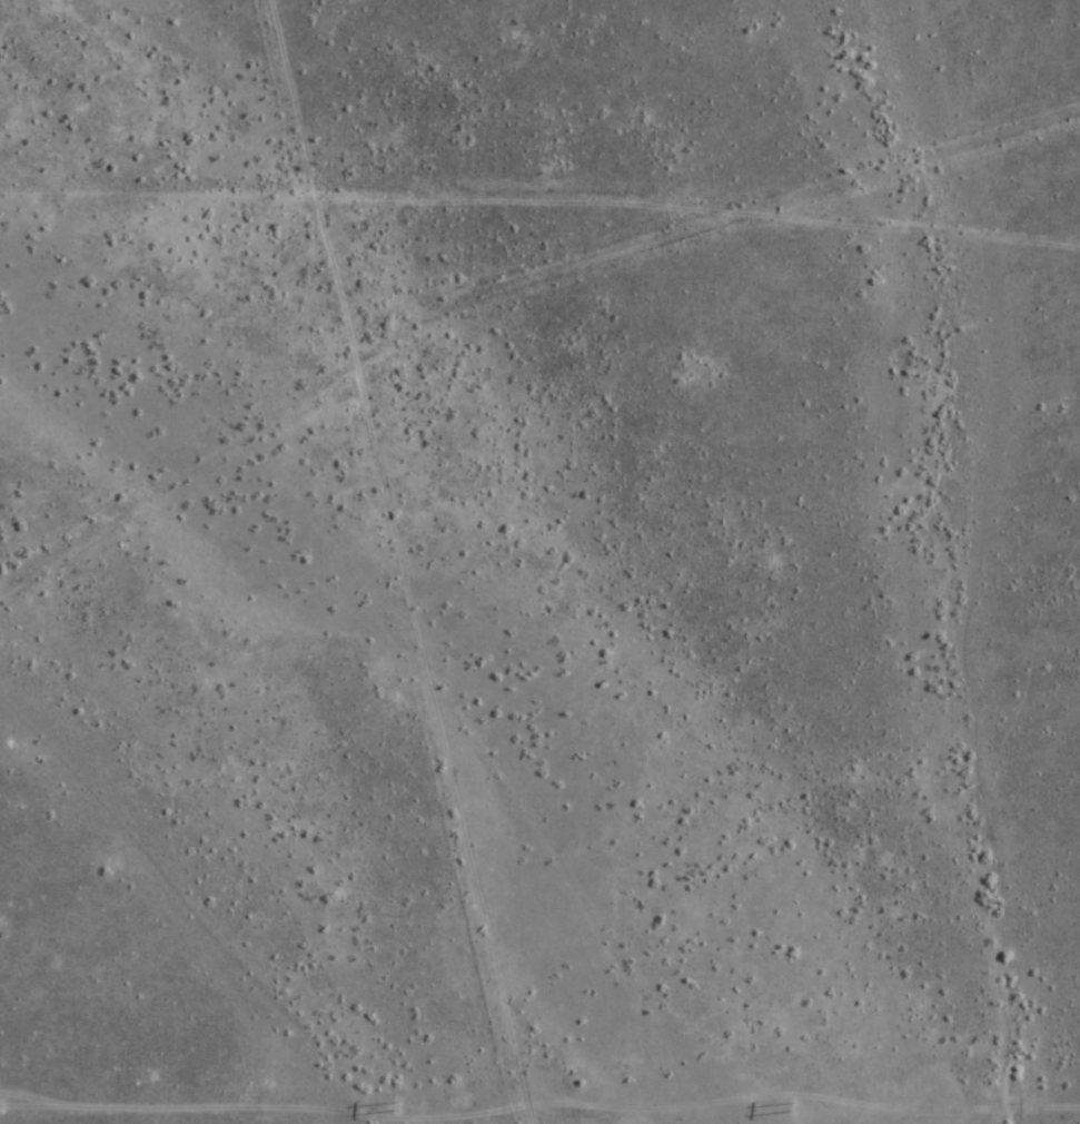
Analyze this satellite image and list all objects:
power tower: (395, 1105)
power tower: (792, 1106)

